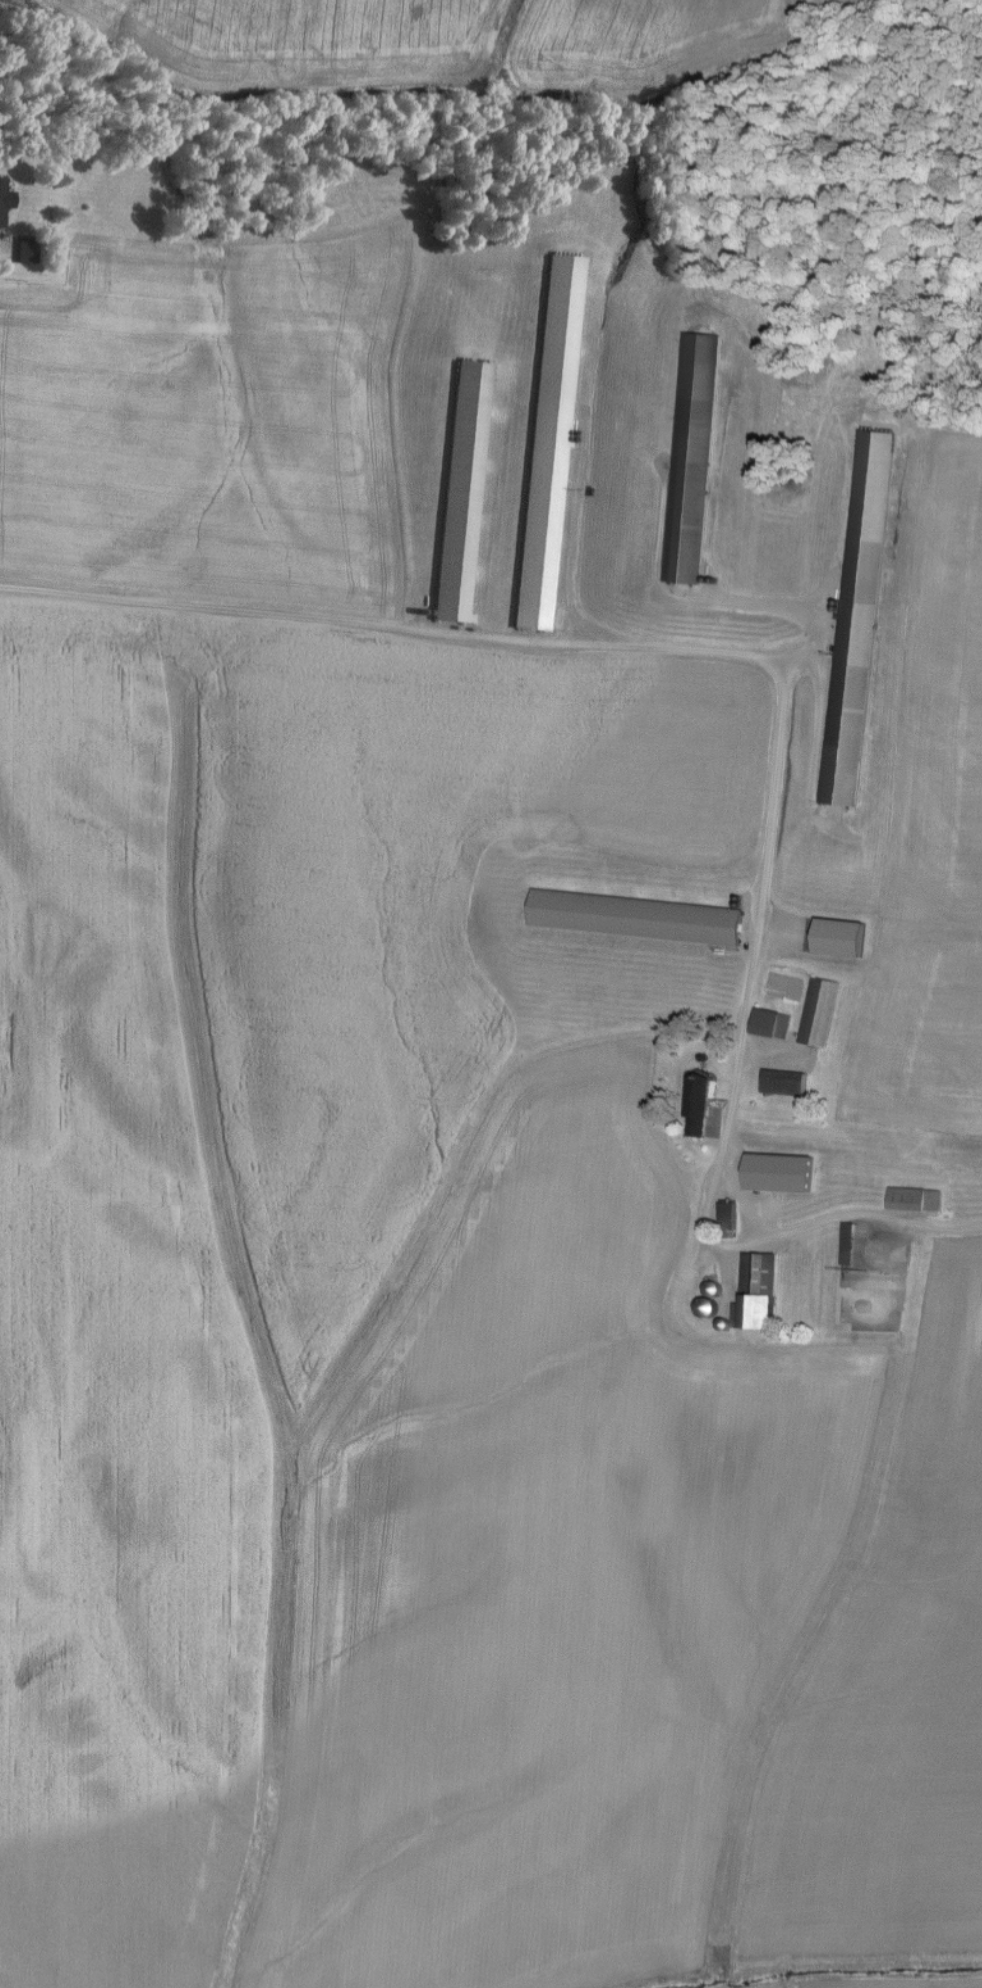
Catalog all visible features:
building: (1, 200)
building: (546, 441)
building: (690, 457)
building: (459, 491)
road: (768, 609)
building: (856, 617)
road: (779, 701)
road: (817, 731)
building: (633, 916)
building: (837, 936)
building: (817, 1011)
building: (769, 1023)
building: (783, 1082)
building: (695, 1105)
building: (789, 1172)
building: (912, 1198)
building: (725, 1219)
building: (845, 1243)
building: (711, 1288)
building: (754, 1292)
building: (705, 1307)

